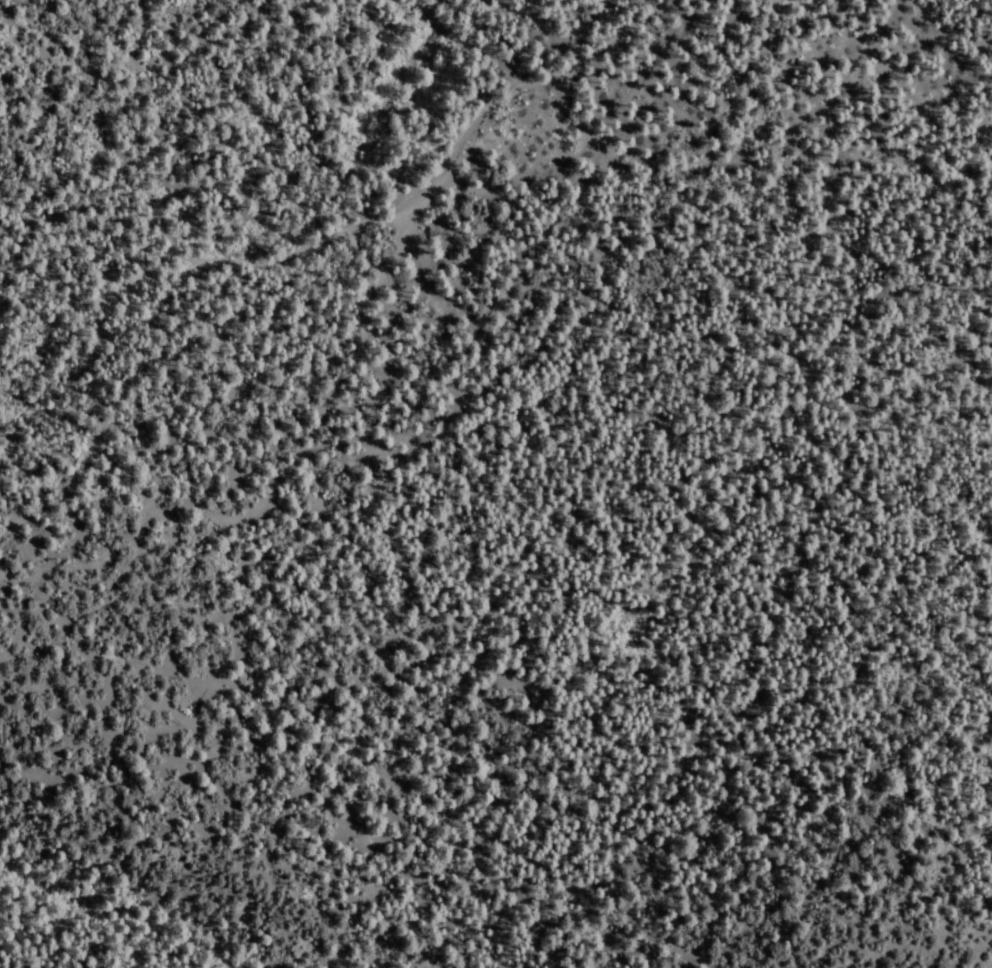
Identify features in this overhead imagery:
road: (937, 37)
road: (336, 198)
road: (339, 966)

